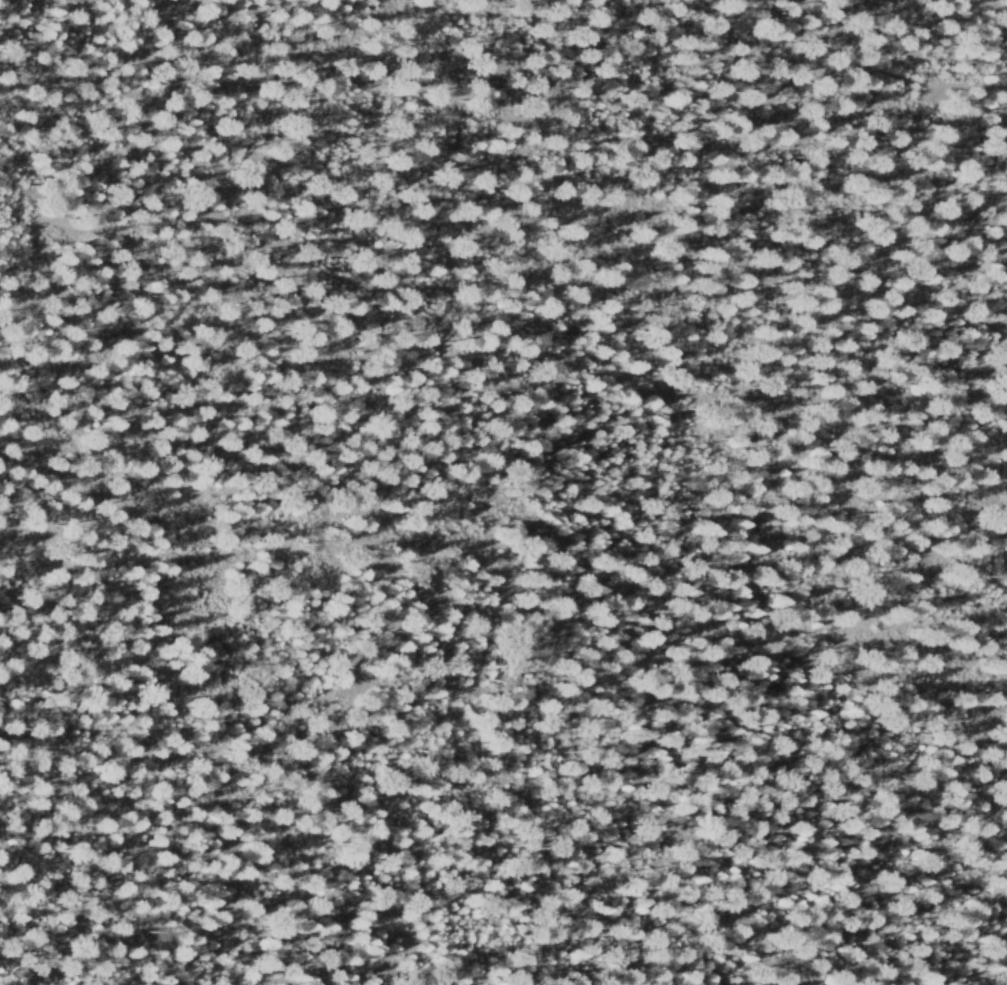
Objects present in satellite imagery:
road: (543, 216)
road: (513, 517)

